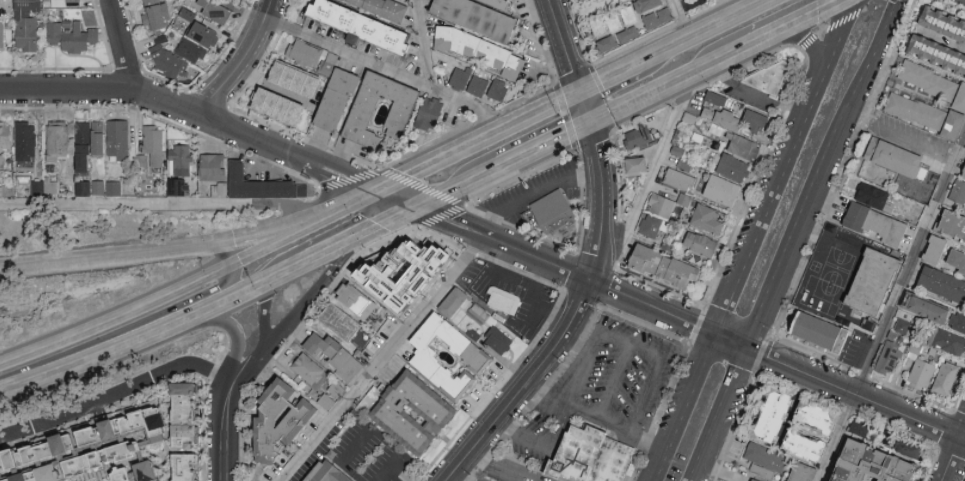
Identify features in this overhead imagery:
building: (77, 0)
building: (581, 0)
road: (683, 2)
building: (498, 3)
building: (382, 8)
building: (214, 11)
building: (654, 12)
building: (157, 15)
building: (475, 17)
road: (686, 19)
road: (795, 21)
building: (32, 24)
building: (361, 26)
building: (615, 29)
building: (4, 34)
road: (704, 34)
building: (73, 35)
building: (204, 35)
building: (941, 37)
road: (807, 44)
road: (123, 46)
road: (427, 46)
road: (566, 46)
building: (190, 51)
building: (479, 51)
building: (304, 53)
road: (243, 61)
building: (330, 64)
road: (386, 72)
building: (773, 77)
building: (460, 78)
building: (294, 79)
road: (610, 80)
road: (672, 82)
building: (929, 82)
building: (477, 87)
building: (498, 90)
road: (103, 93)
traffic signals: (583, 93)
building: (718, 97)
building: (336, 100)
building: (277, 106)
road: (588, 108)
building: (910, 109)
building: (428, 115)
building: (361, 116)
building: (737, 118)
traffic signals: (593, 124)
building: (946, 124)
building: (8, 136)
building: (103, 137)
building: (62, 139)
building: (122, 139)
building: (29, 140)
building: (639, 140)
road: (482, 142)
building: (964, 143)
building: (157, 144)
road: (546, 145)
building: (88, 146)
building: (747, 147)
building: (678, 150)
road: (292, 155)
building: (887, 156)
building: (184, 159)
building: (4, 160)
building: (642, 165)
building: (215, 167)
building: (735, 167)
building: (960, 167)
road: (652, 169)
building: (2, 176)
building: (680, 179)
building: (102, 186)
building: (181, 186)
building: (42, 187)
building: (88, 187)
building: (116, 187)
road: (459, 187)
building: (724, 190)
building: (955, 190)
parking lot: (533, 192)
traffic signals: (382, 193)
road: (533, 194)
building: (869, 196)
road: (400, 200)
road: (158, 203)
road: (603, 203)
building: (662, 204)
building: (911, 206)
traffic signals: (419, 208)
road: (344, 209)
building: (551, 217)
building: (709, 218)
road: (445, 219)
road: (387, 222)
building: (870, 222)
building: (949, 224)
building: (653, 226)
road: (793, 239)
road: (755, 240)
building: (702, 243)
building: (849, 243)
traffic signals: (215, 246)
road: (269, 246)
road: (333, 248)
building: (926, 248)
road: (154, 252)
road: (224, 254)
building: (952, 261)
traffic signals: (232, 266)
building: (668, 266)
building: (938, 283)
road: (206, 291)
building: (874, 291)
building: (360, 299)
building: (505, 300)
building: (457, 302)
road: (153, 303)
building: (919, 307)
road: (892, 308)
road: (295, 309)
road: (266, 310)
building: (342, 321)
building: (956, 321)
building: (903, 326)
road: (233, 328)
building: (810, 329)
road: (156, 330)
road: (717, 335)
building: (500, 340)
building: (945, 341)
road: (86, 343)
building: (326, 345)
road: (36, 352)
building: (477, 355)
road: (384, 359)
parking lot: (606, 363)
building: (350, 364)
road: (656, 365)
building: (312, 370)
road: (580, 370)
building: (917, 372)
building: (942, 378)
road: (612, 382)
road: (527, 386)
road: (113, 396)
building: (189, 400)
building: (416, 414)
building: (762, 414)
building: (806, 415)
building: (288, 418)
building: (153, 419)
building: (119, 426)
road: (227, 428)
road: (557, 431)
road: (618, 432)
building: (189, 434)
building: (73, 440)
building: (793, 444)
building: (902, 447)
building: (21, 455)
building: (106, 456)
building: (757, 457)
road: (955, 458)
building: (592, 459)
building: (4, 463)
building: (856, 463)
road: (507, 465)
building: (189, 466)
building: (154, 470)
building: (55, 471)
building: (331, 472)
building: (804, 472)
building: (34, 475)
building: (12, 479)
building: (747, 479)
building: (125, 480)
building: (792, 480)

